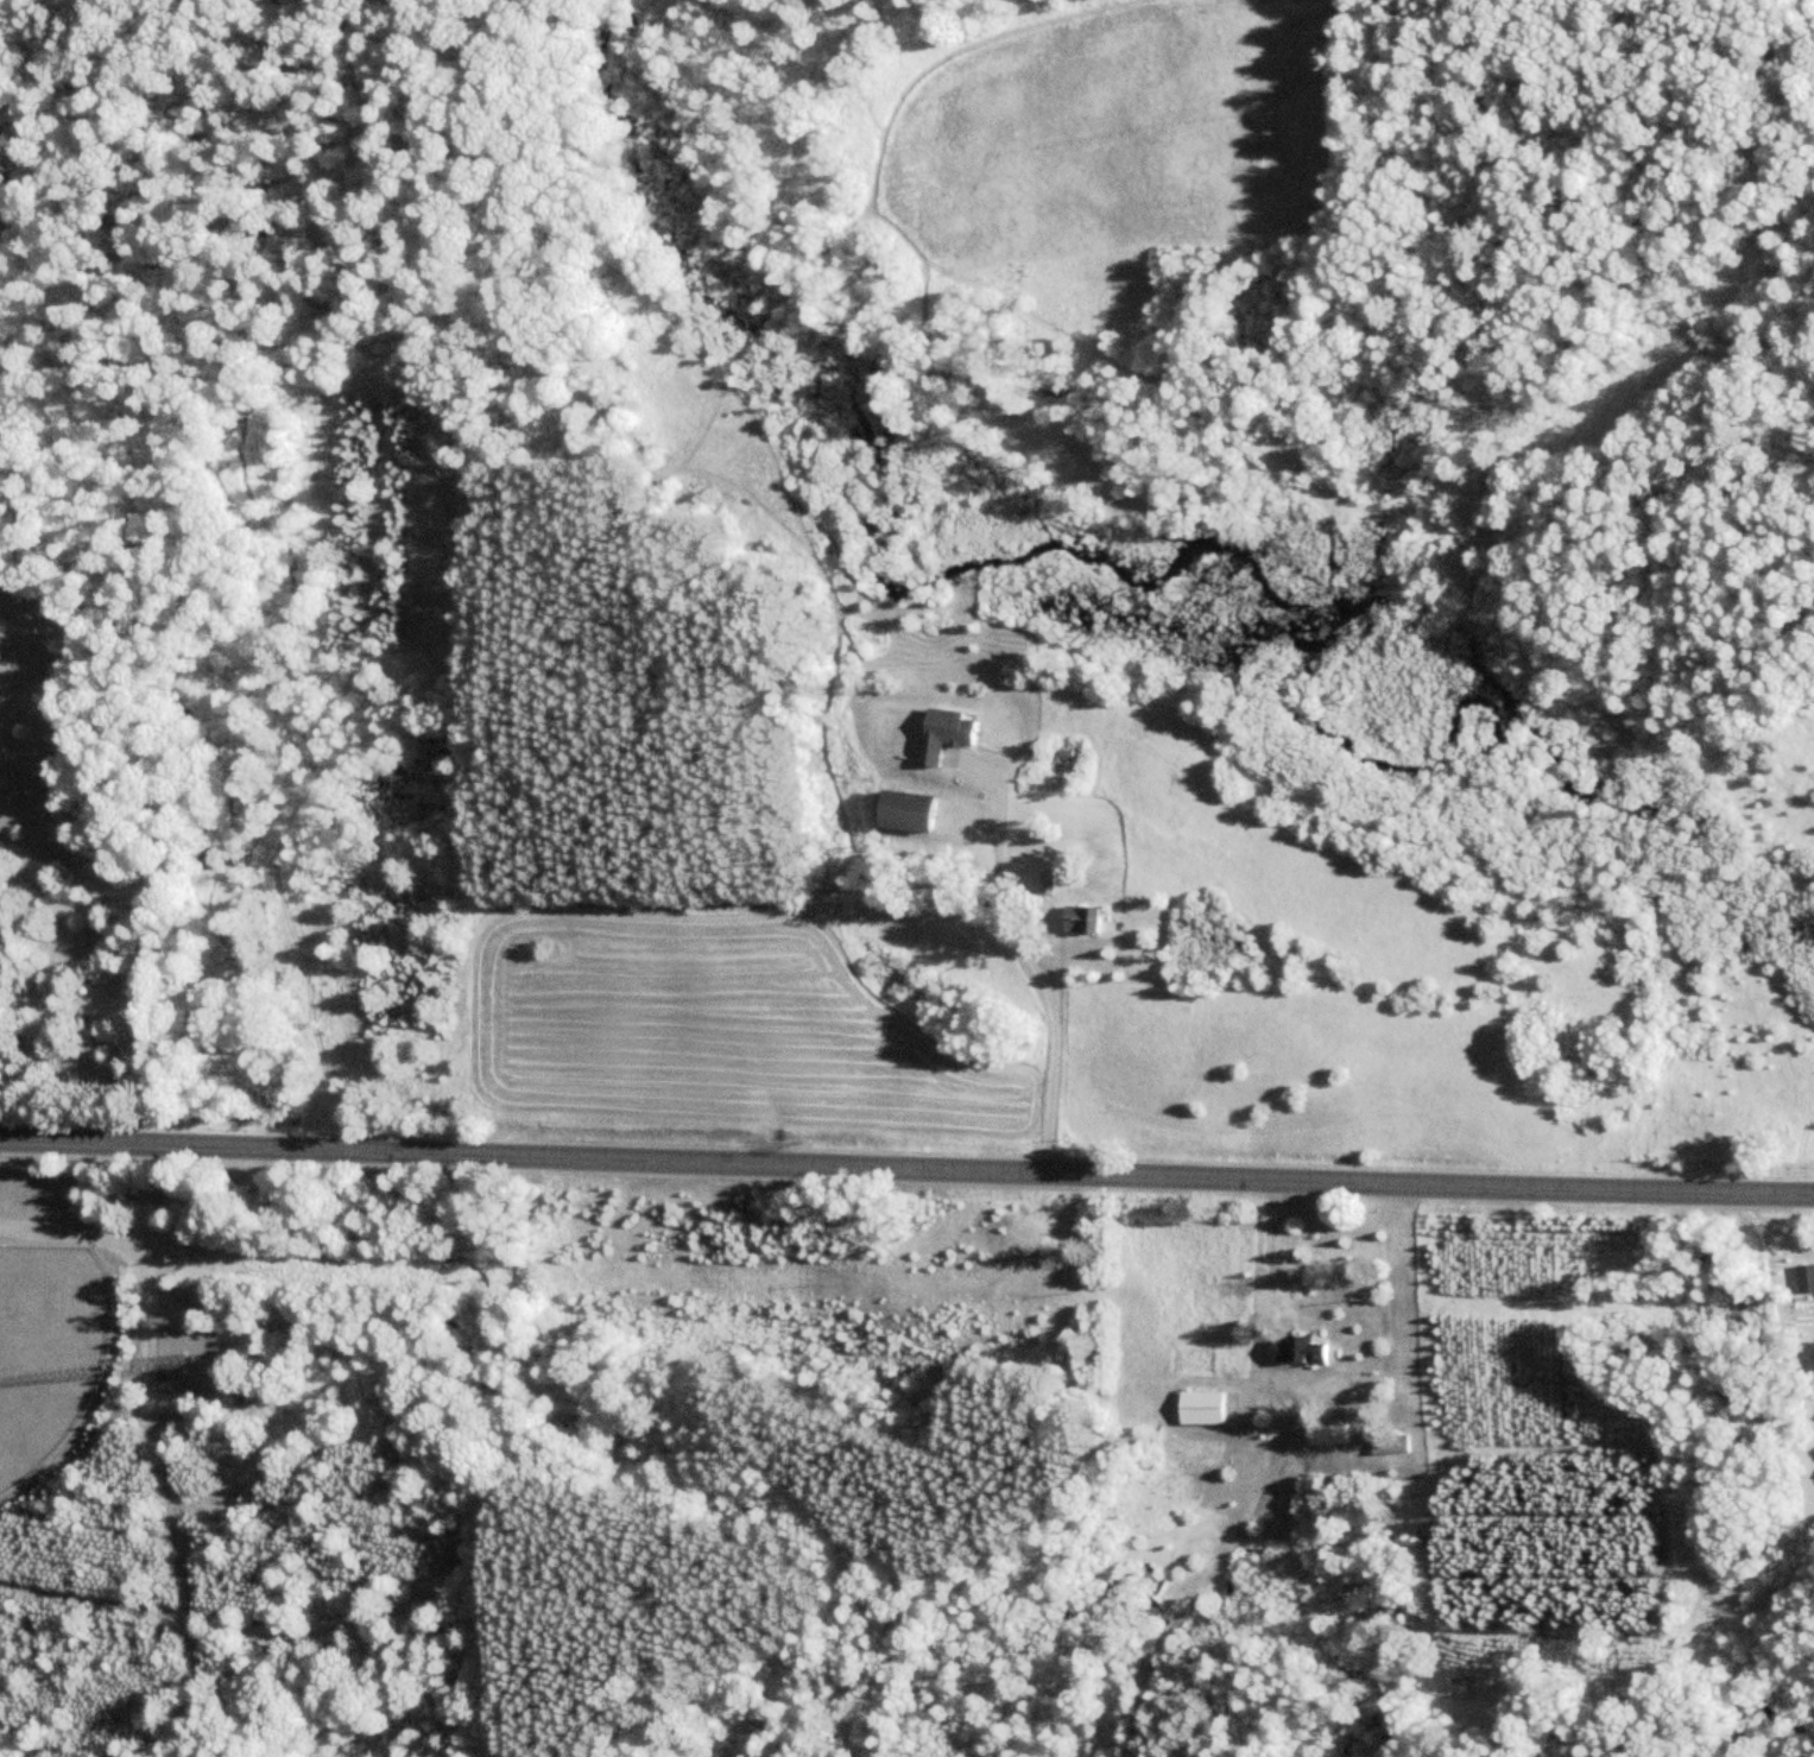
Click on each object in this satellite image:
building: (916, 810)
building: (1048, 880)
building: (1087, 918)
road: (906, 1167)
building: (1711, 1240)
building: (1807, 1276)
park: (49, 1346)
building: (1304, 1346)
building: (1211, 1405)
building: (1333, 1433)
building: (1393, 1443)
building: (1173, 1625)

